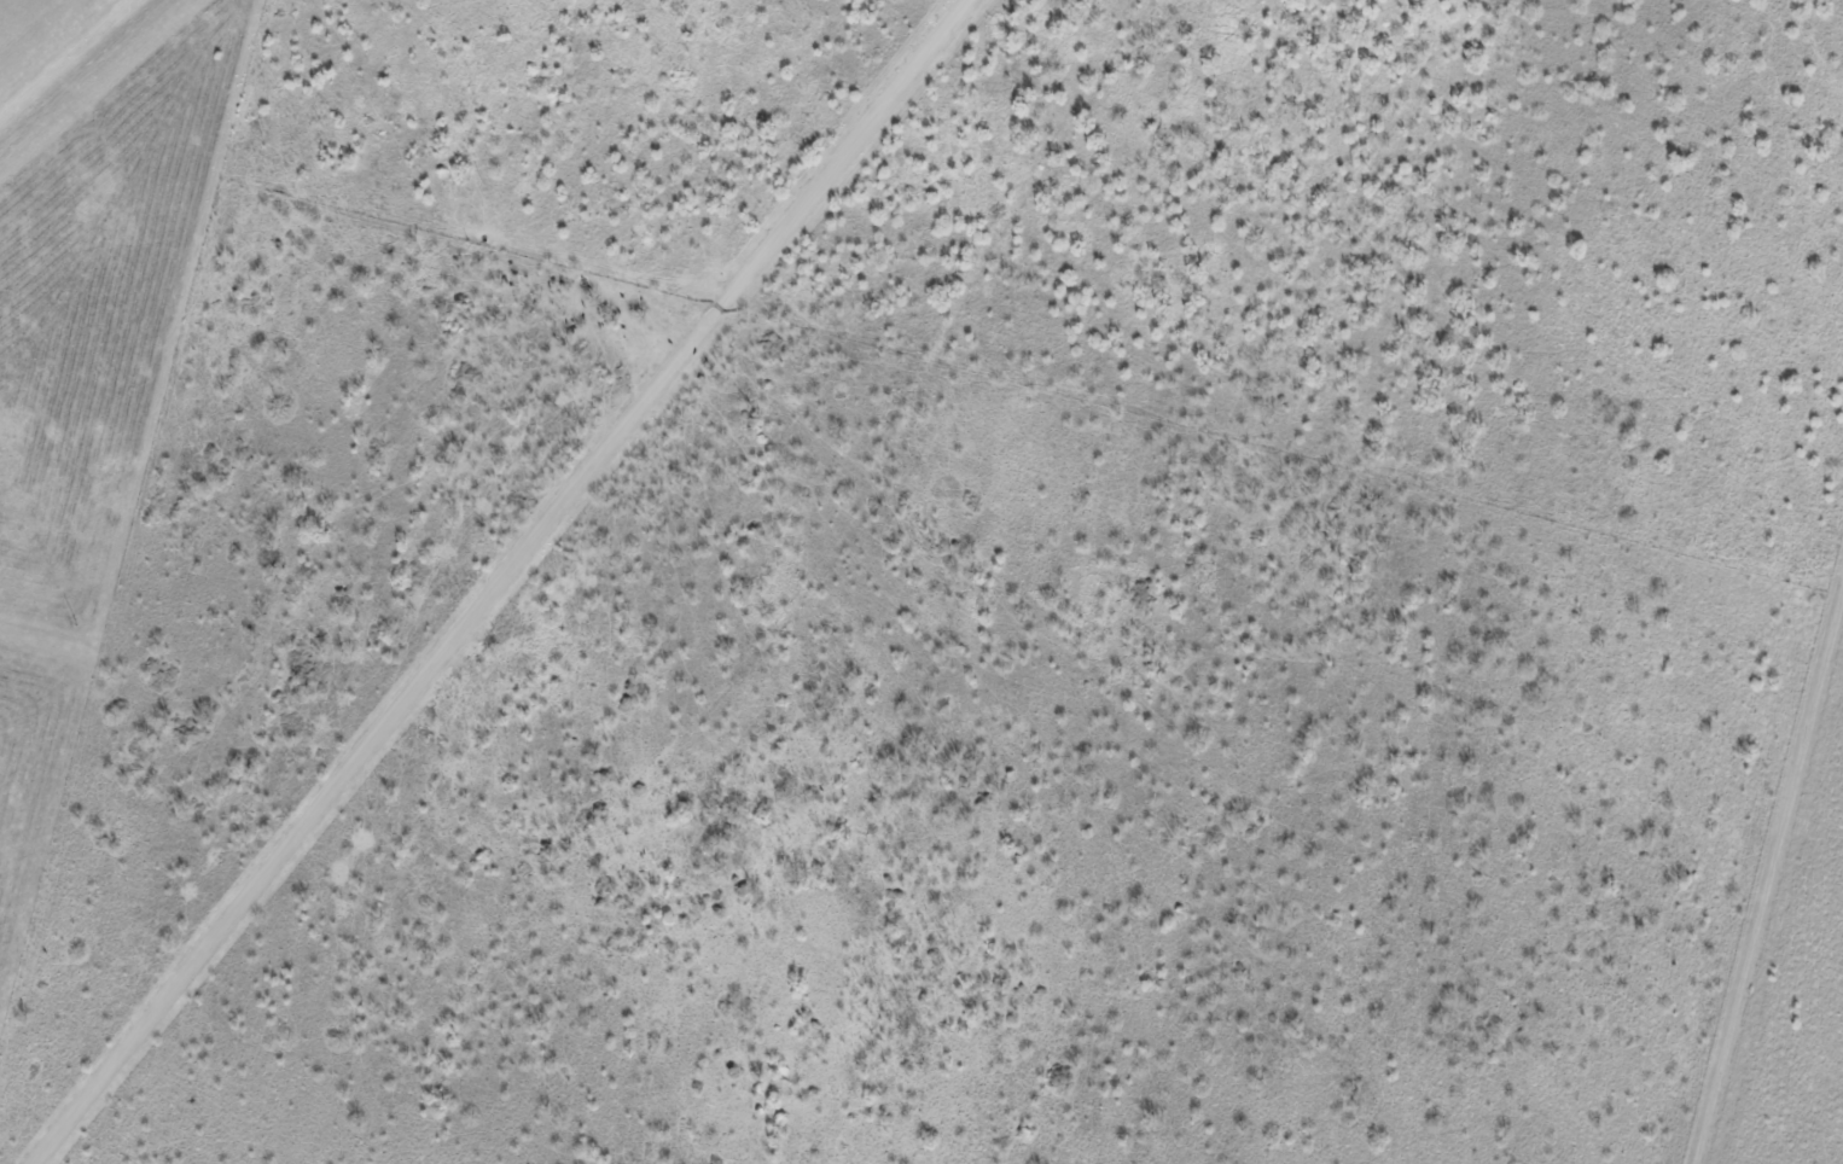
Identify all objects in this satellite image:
road: (489, 582)

